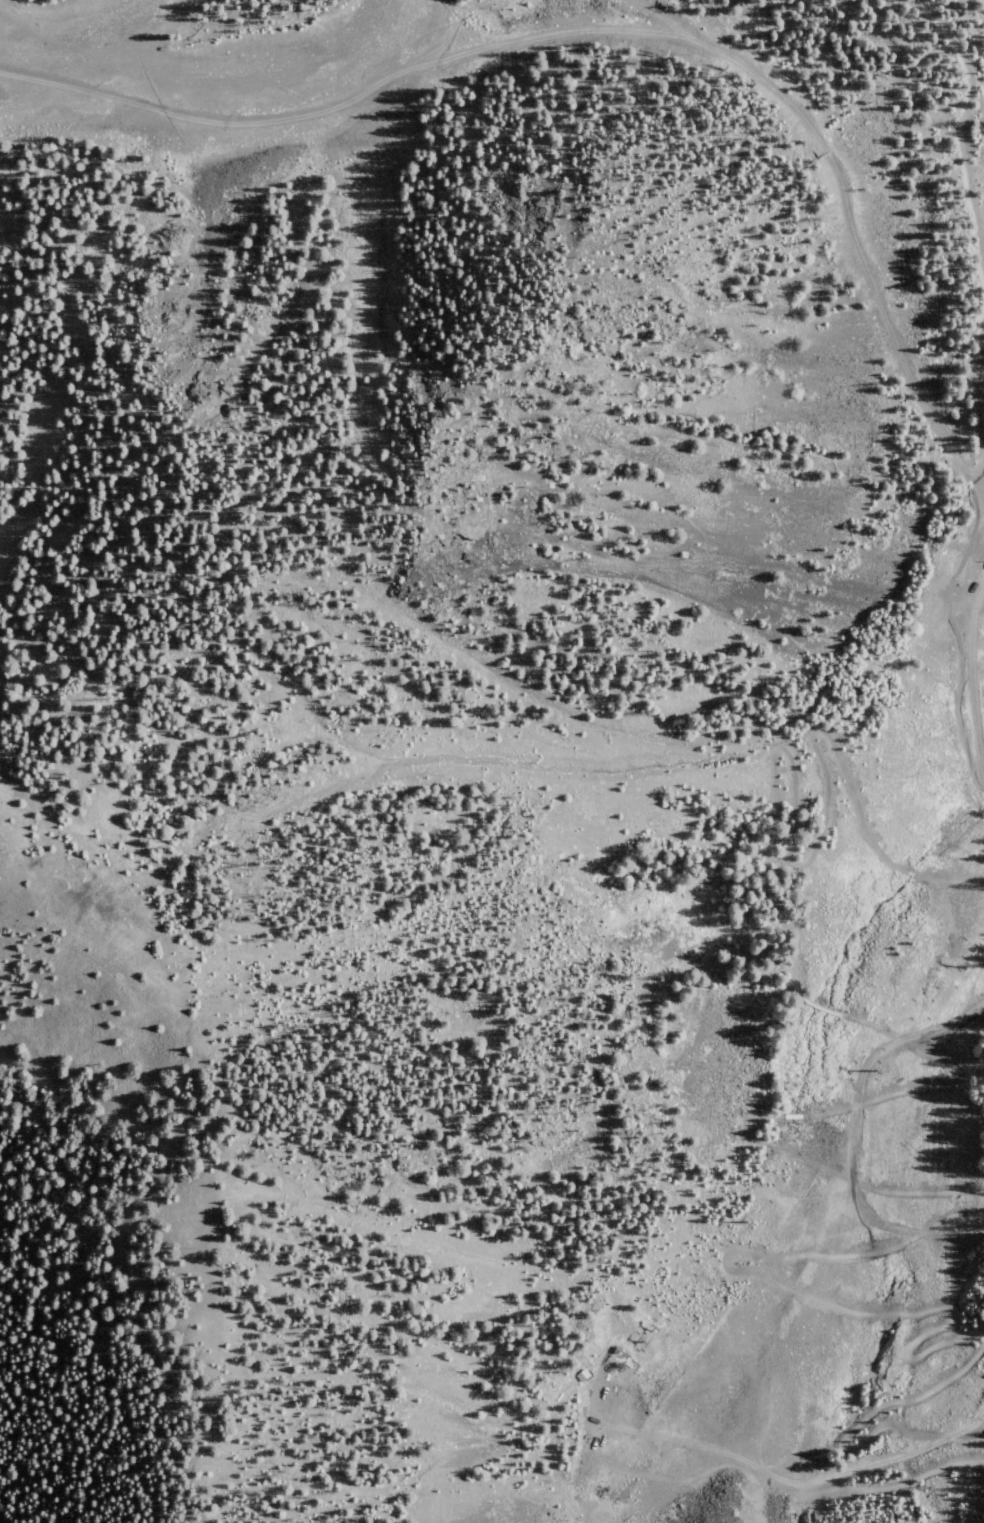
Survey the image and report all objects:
road: (40, 78)
road: (388, 81)
road: (962, 115)
road: (848, 213)
road: (965, 407)
building: (983, 565)
road: (978, 672)
road: (971, 684)
ski resort: (524, 724)
aerialway pylon: (947, 958)
aerialway pylon: (849, 1069)
road: (851, 1130)
aerialway pylon: (712, 1225)
road: (817, 1295)
building: (582, 1374)
road: (869, 1413)
road: (801, 1478)

